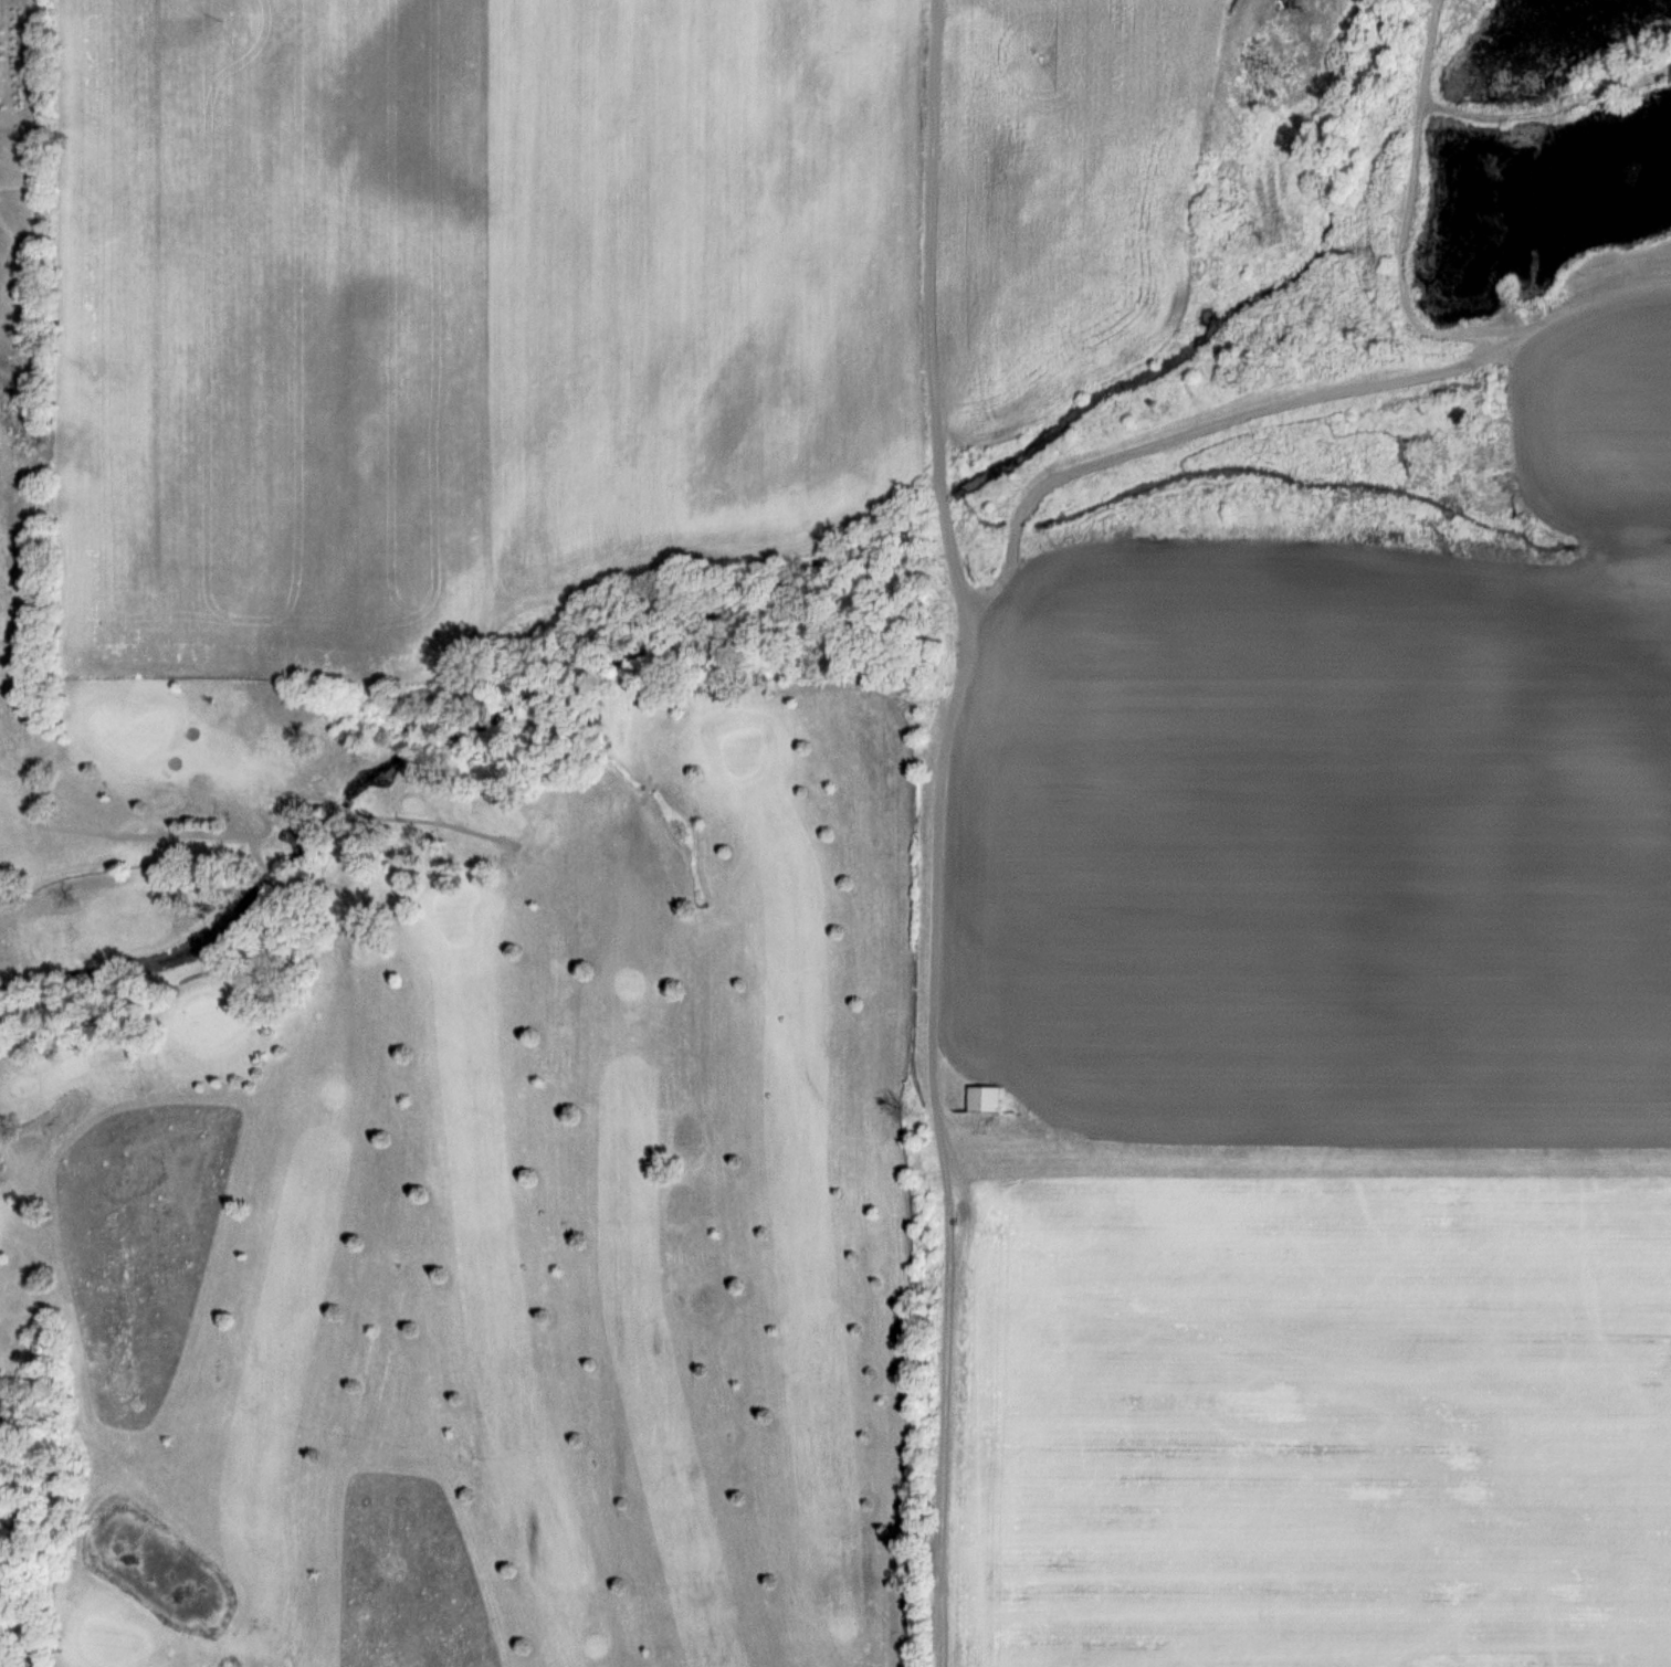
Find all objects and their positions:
road: (1402, 292)
road: (997, 585)
building: (986, 1098)
park: (452, 1154)

